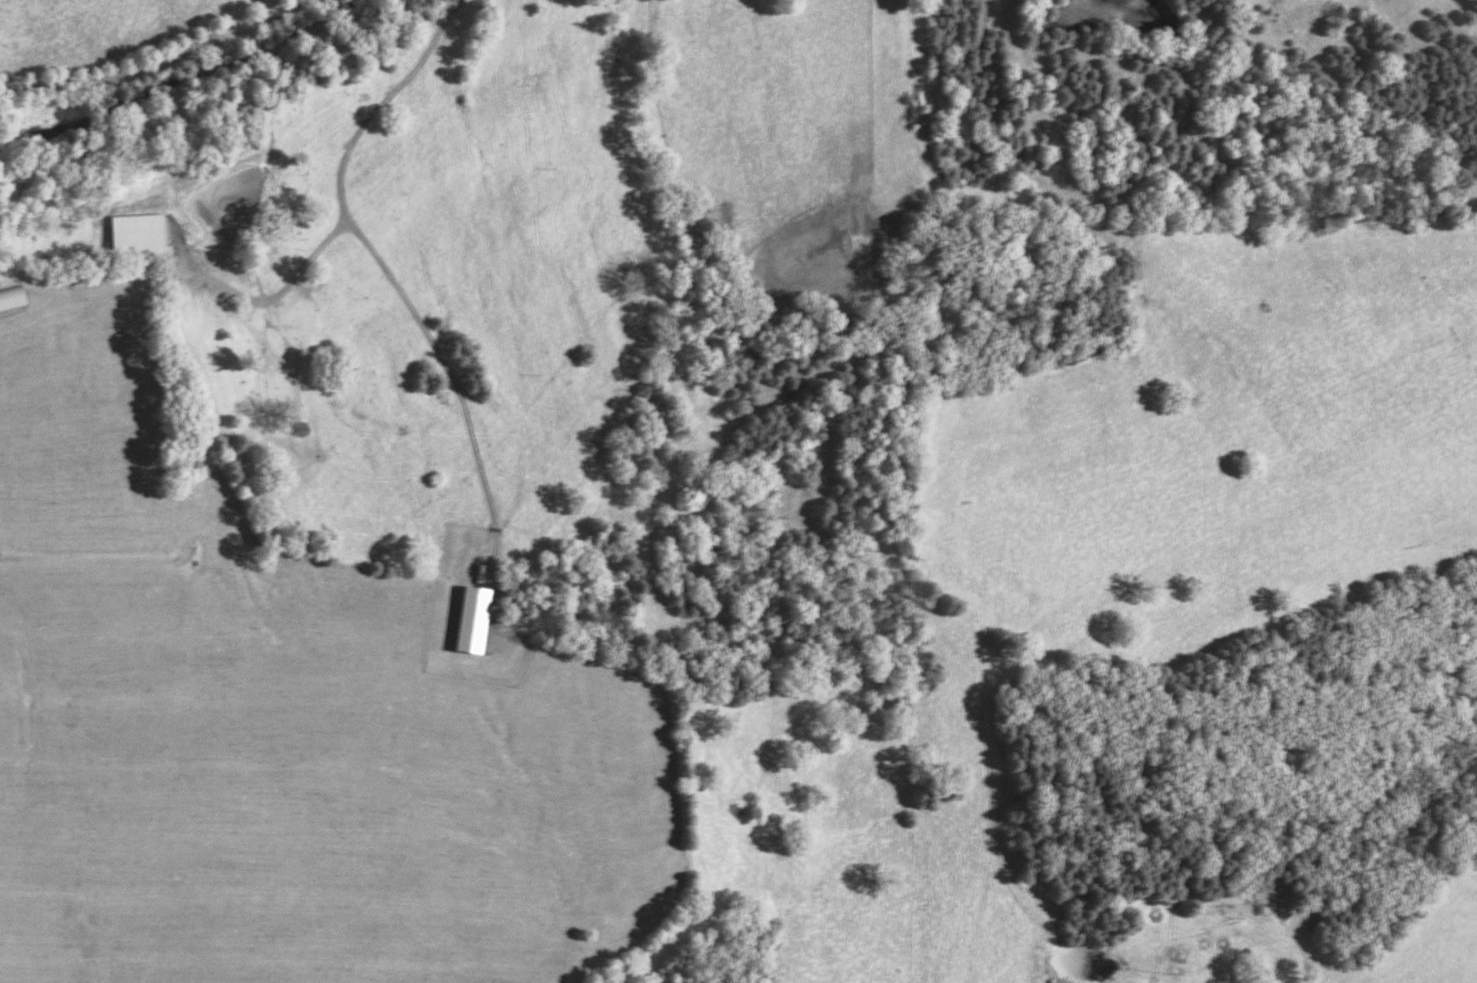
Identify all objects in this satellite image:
road: (165, 65)
building: (554, 528)

